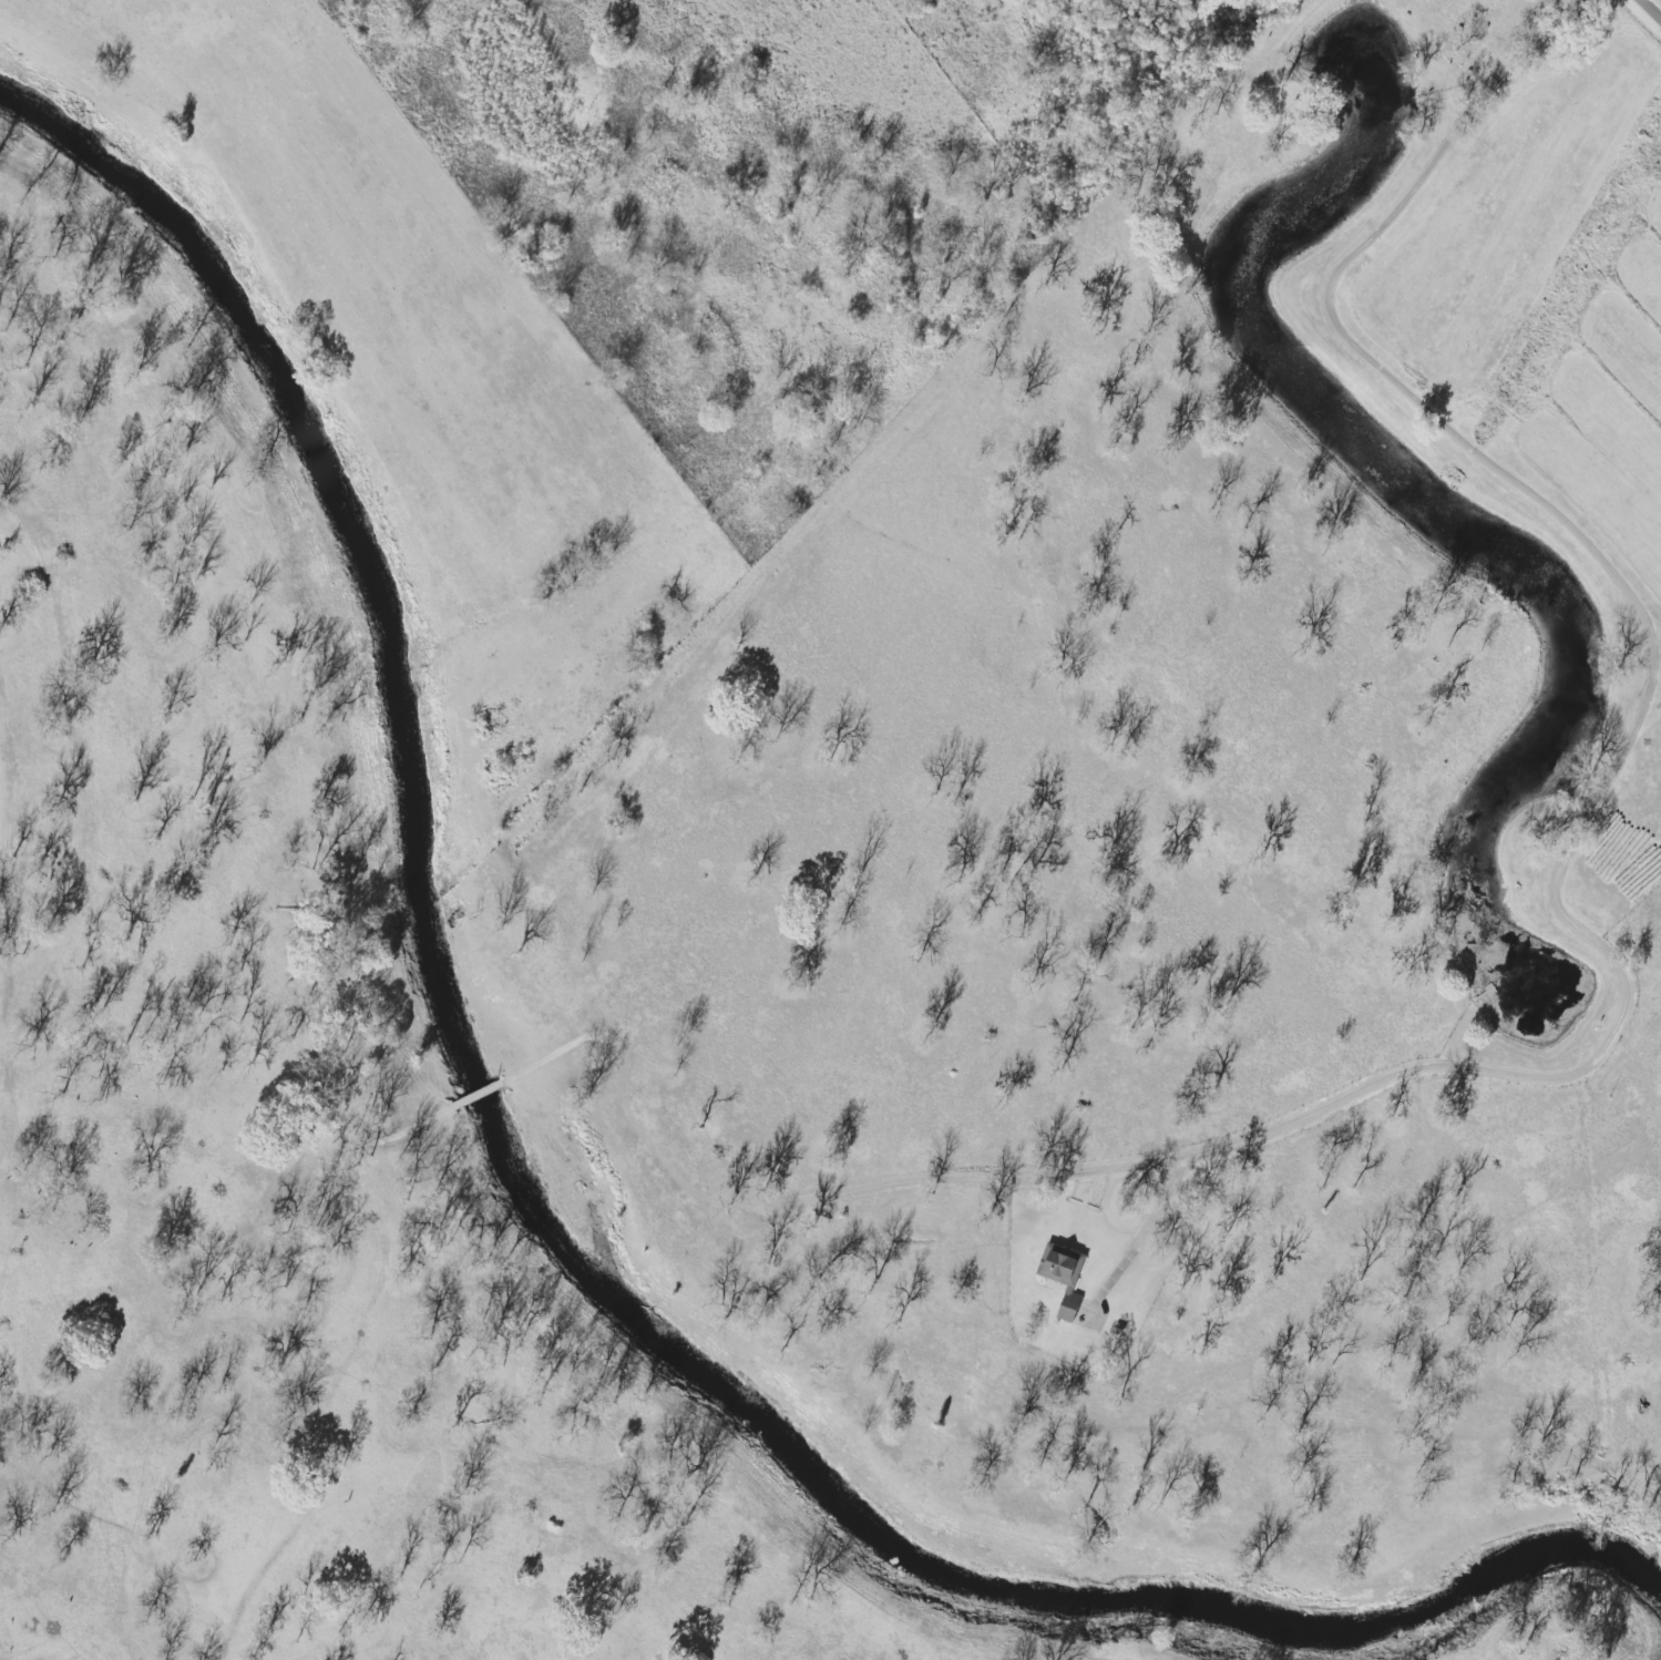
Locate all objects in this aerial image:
road: (1652, 8)
road: (1350, 336)
road: (1425, 1070)
river: (551, 1227)
building: (1057, 1261)
building: (1066, 1303)

